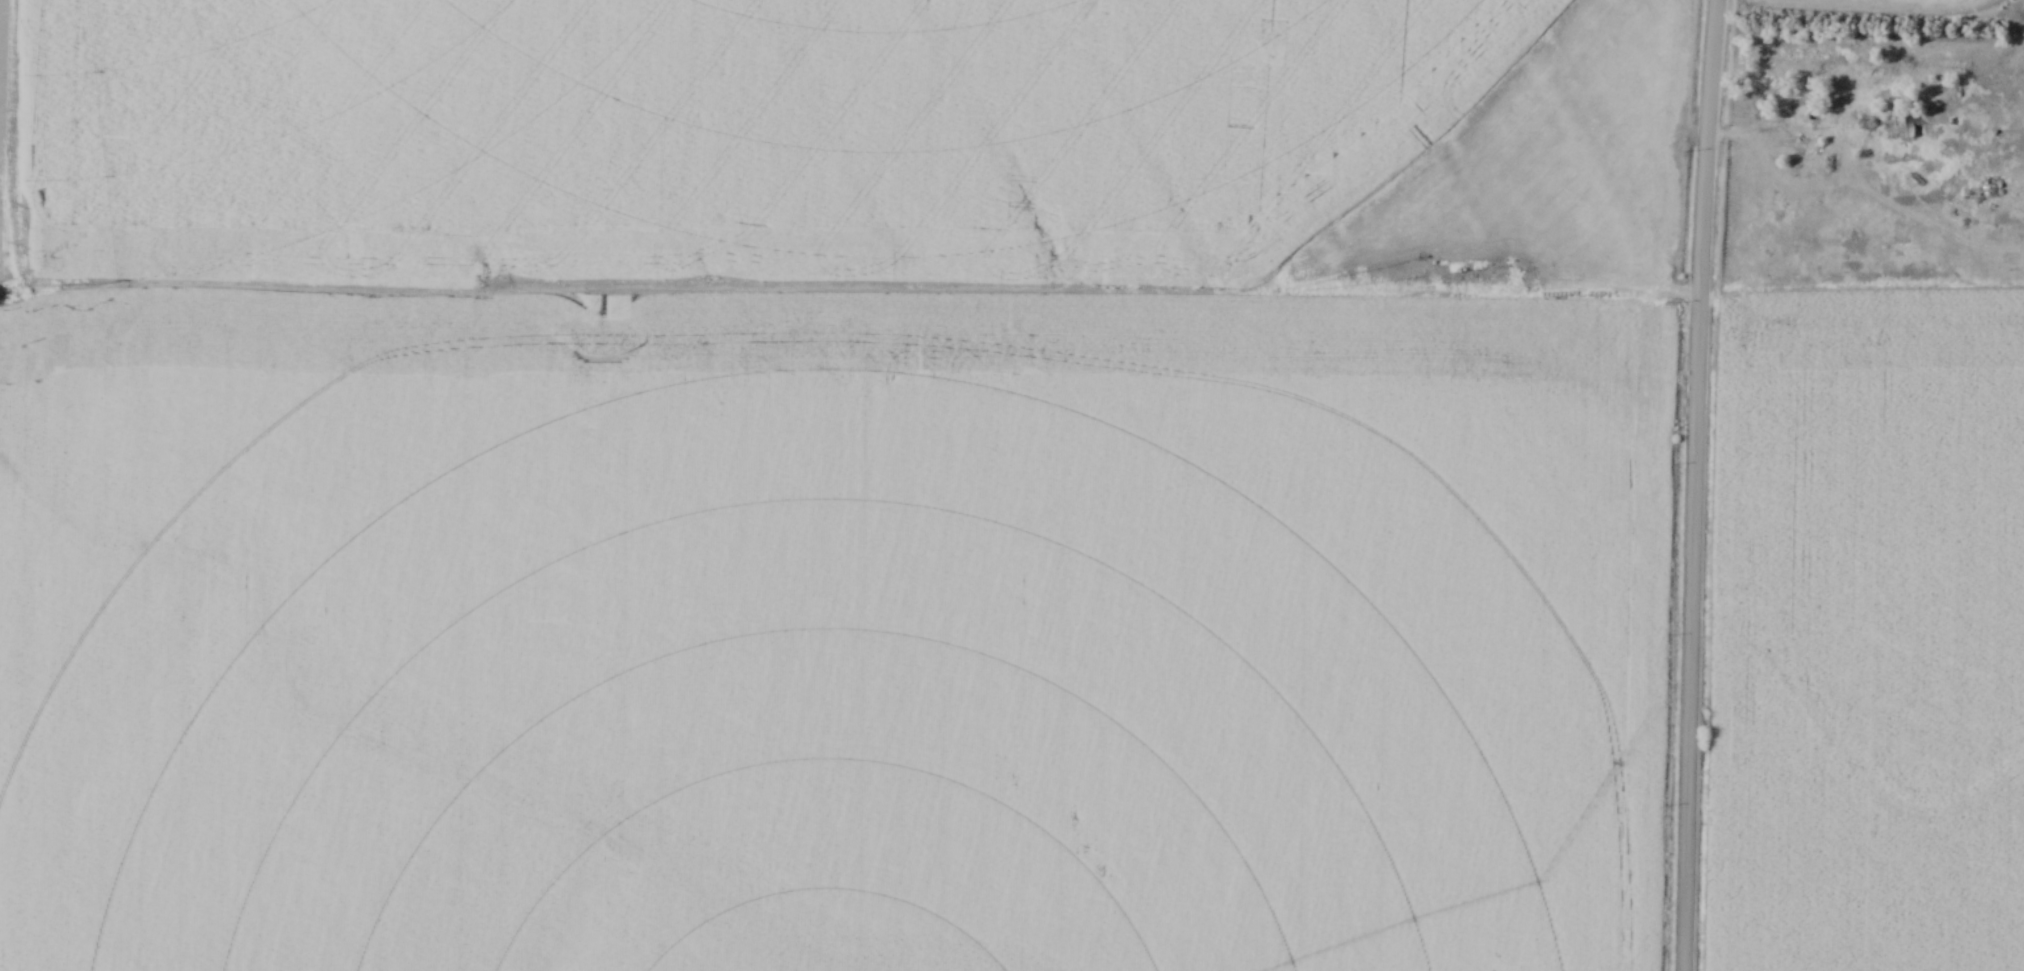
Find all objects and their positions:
building: (1903, 126)
road: (1688, 485)

